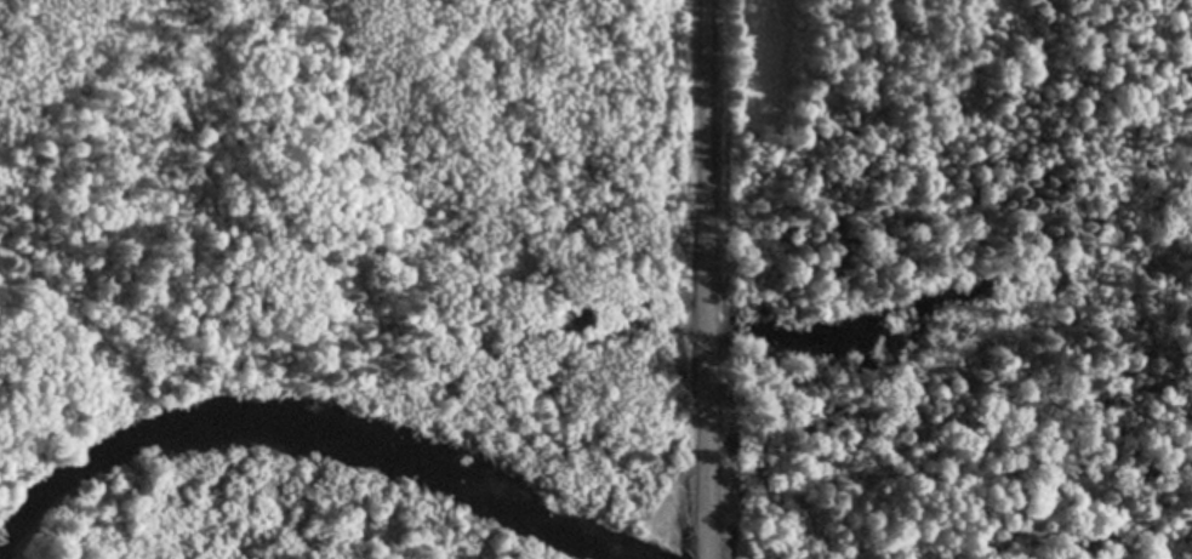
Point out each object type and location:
road: (705, 278)
river: (303, 432)
river: (5, 554)
road: (706, 558)

